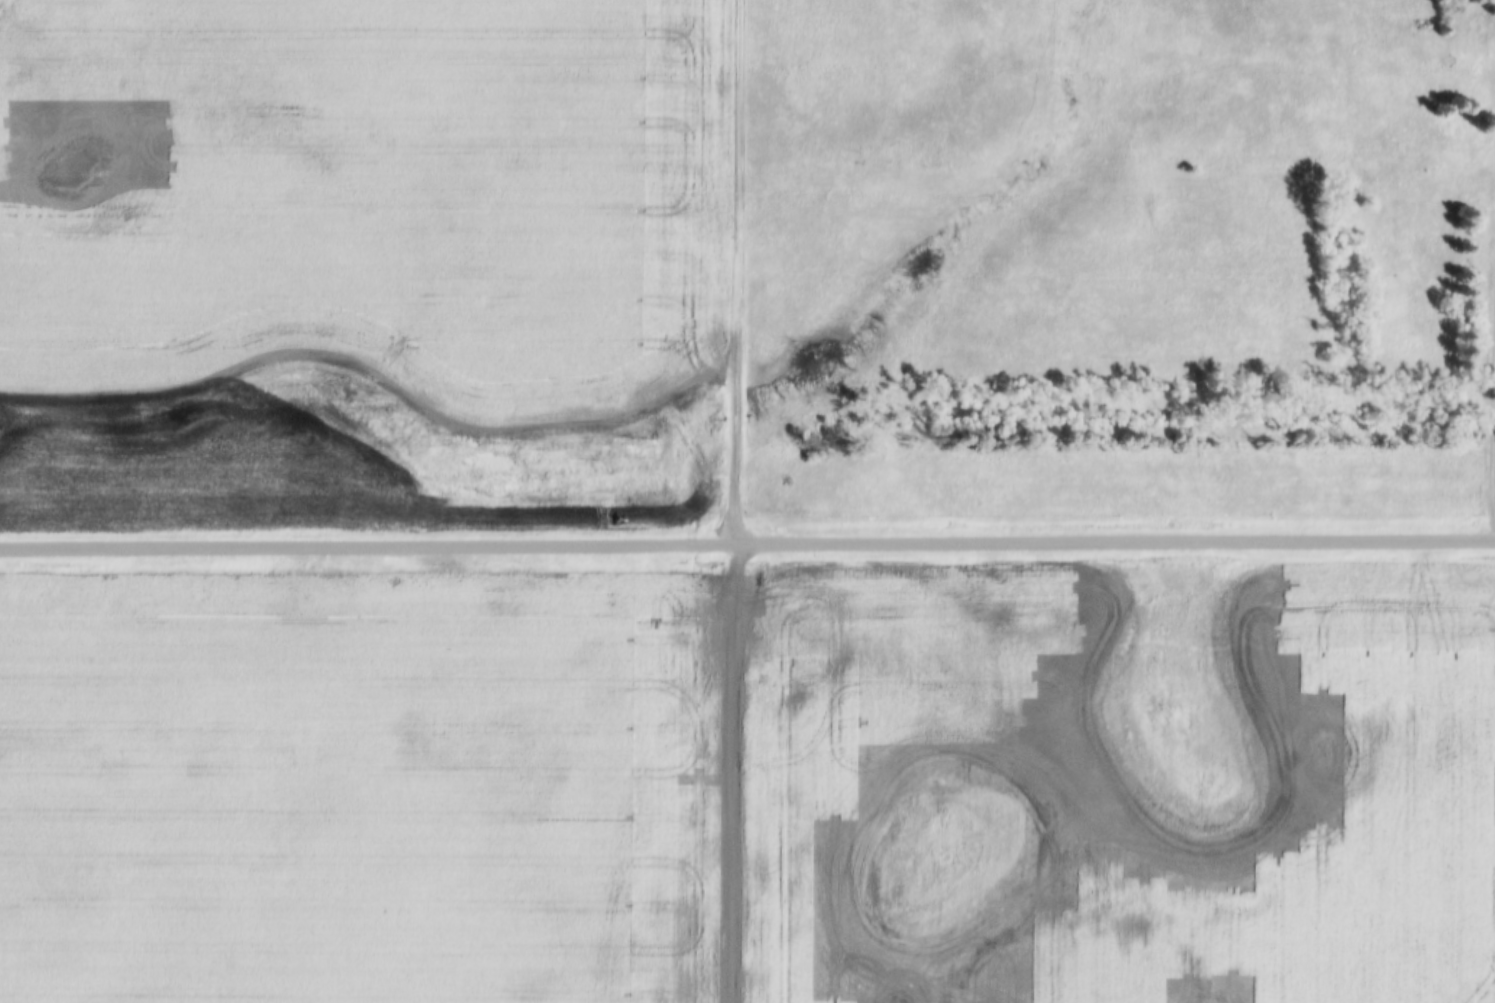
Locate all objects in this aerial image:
road: (1494, 485)
road: (745, 501)
road: (747, 546)

